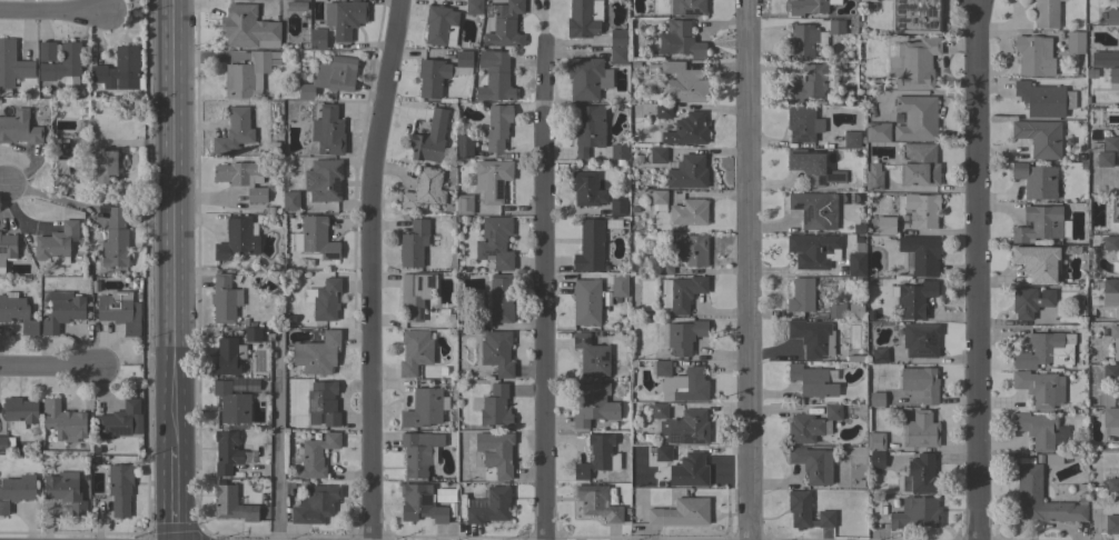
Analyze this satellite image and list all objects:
building: (867, 1)
building: (473, 7)
building: (687, 7)
building: (809, 7)
road: (53, 13)
building: (1046, 13)
building: (915, 17)
building: (1112, 17)
building: (344, 18)
building: (584, 18)
building: (504, 24)
building: (440, 26)
building: (835, 27)
building: (247, 28)
building: (617, 38)
building: (317, 39)
building: (804, 40)
building: (679, 41)
building: (1075, 42)
building: (46, 51)
building: (618, 56)
building: (1033, 56)
building: (1103, 58)
building: (463, 59)
building: (913, 63)
building: (62, 64)
building: (12, 67)
building: (119, 71)
building: (248, 76)
building: (494, 77)
building: (432, 78)
building: (587, 78)
building: (1113, 78)
building: (329, 79)
building: (683, 83)
building: (808, 83)
building: (1043, 99)
building: (663, 111)
building: (915, 118)
building: (802, 123)
building: (497, 127)
building: (587, 128)
building: (19, 129)
building: (686, 130)
building: (234, 131)
building: (327, 131)
building: (877, 131)
building: (1039, 138)
building: (429, 139)
building: (852, 139)
building: (1103, 144)
building: (463, 146)
building: (618, 153)
building: (657, 154)
building: (1103, 159)
building: (919, 164)
building: (60, 167)
building: (103, 167)
building: (813, 168)
building: (687, 171)
building: (242, 178)
building: (492, 179)
building: (873, 179)
building: (323, 180)
building: (1036, 180)
road: (3, 187)
building: (424, 189)
building: (586, 189)
building: (656, 199)
building: (290, 201)
building: (464, 204)
building: (617, 206)
building: (919, 209)
building: (814, 210)
building: (689, 212)
building: (1040, 224)
building: (885, 226)
building: (317, 237)
building: (115, 239)
building: (236, 239)
building: (495, 242)
building: (56, 243)
building: (413, 243)
building: (1110, 243)
building: (588, 246)
building: (689, 248)
building: (814, 249)
building: (7, 250)
building: (921, 253)
building: (1038, 262)
building: (855, 263)
building: (663, 266)
road: (370, 268)
road: (172, 270)
road: (747, 270)
road: (980, 270)
building: (618, 284)
building: (1109, 292)
building: (681, 293)
building: (415, 294)
road: (546, 294)
building: (801, 296)
building: (498, 298)
building: (224, 299)
building: (324, 299)
building: (913, 299)
building: (586, 301)
building: (1030, 301)
building: (61, 310)
building: (836, 310)
building: (119, 311)
building: (855, 311)
building: (17, 312)
building: (251, 332)
building: (684, 337)
building: (813, 337)
building: (920, 340)
building: (1115, 340)
building: (1046, 350)
building: (414, 351)
building: (497, 352)
building: (317, 353)
building: (591, 356)
building: (879, 356)
building: (226, 357)
road: (49, 368)
building: (1110, 372)
building: (811, 381)
building: (681, 382)
building: (249, 384)
building: (920, 384)
building: (1039, 388)
building: (1108, 397)
building: (875, 399)
building: (231, 403)
building: (323, 403)
building: (593, 404)
building: (495, 407)
building: (423, 408)
building: (660, 411)
building: (20, 412)
building: (1110, 418)
building: (62, 420)
building: (117, 420)
building: (811, 426)
building: (685, 428)
building: (920, 430)
building: (1040, 430)
road: (276, 434)
building: (875, 441)
building: (6, 443)
building: (226, 452)
building: (495, 452)
building: (662, 453)
building: (417, 454)
building: (316, 456)
building: (595, 456)
building: (875, 459)
building: (1052, 459)
building: (812, 464)
building: (689, 471)
building: (917, 474)
building: (1029, 480)
building: (1112, 484)
building: (120, 489)
building: (16, 490)
building: (65, 490)
building: (596, 502)
building: (422, 503)
building: (231, 504)
building: (315, 504)
building: (491, 507)
building: (806, 511)
building: (681, 512)
building: (917, 512)
building: (1111, 524)

